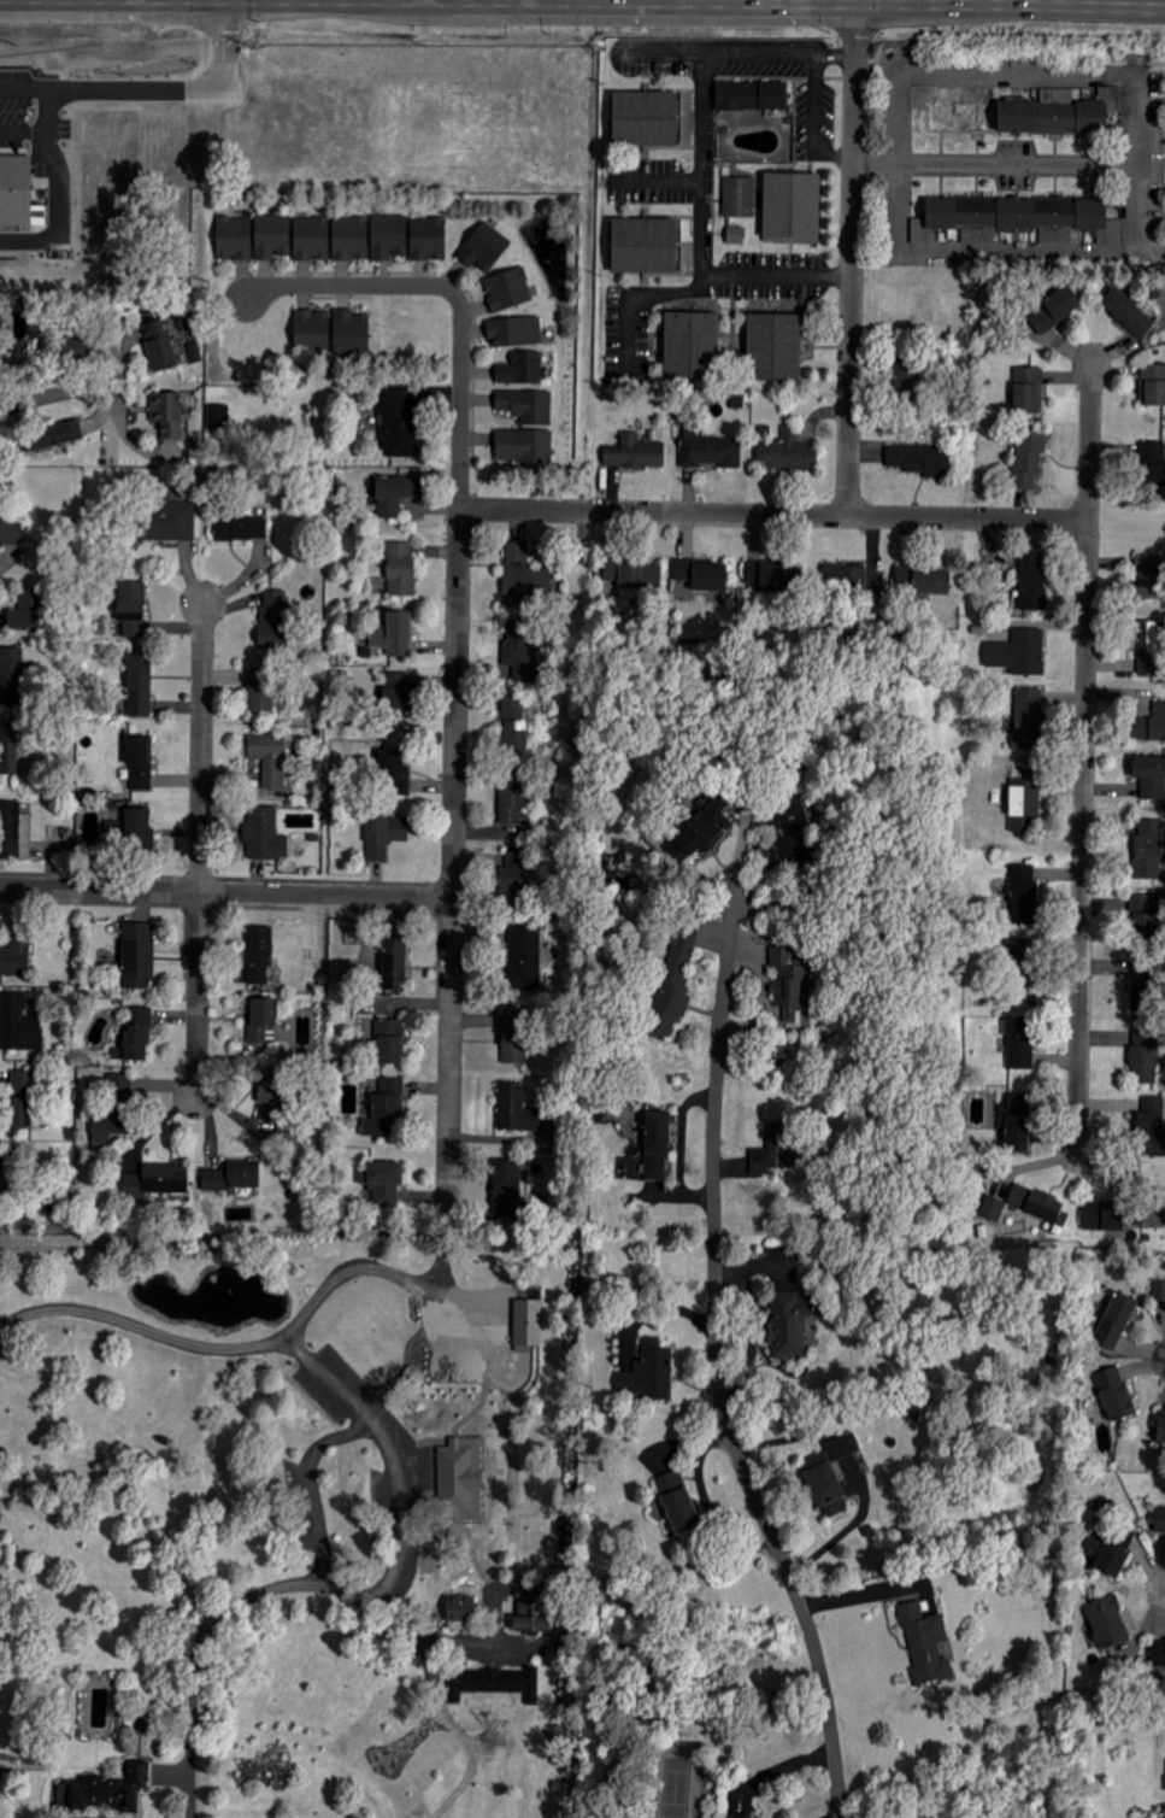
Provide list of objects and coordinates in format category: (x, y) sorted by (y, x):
road: (805, 1)
road: (695, 2)
road: (1064, 71)
road: (78, 88)
building: (752, 95)
building: (1059, 115)
building: (645, 118)
road: (898, 118)
building: (16, 137)
road: (704, 165)
road: (985, 165)
road: (659, 178)
building: (18, 194)
building: (740, 197)
building: (792, 206)
road: (895, 207)
building: (1016, 217)
building: (272, 236)
building: (389, 236)
building: (234, 239)
building: (312, 239)
building: (351, 239)
building: (429, 239)
building: (643, 246)
building: (486, 247)
road: (1057, 254)
road: (852, 260)
road: (352, 286)
building: (508, 289)
building: (1057, 309)
building: (1126, 311)
building: (312, 330)
building: (516, 332)
building: (352, 333)
building: (159, 345)
building: (690, 345)
building: (775, 347)
building: (522, 369)
building: (907, 371)
building: (1153, 385)
building: (1029, 389)
road: (58, 393)
road: (459, 401)
building: (526, 405)
building: (166, 416)
building: (222, 417)
building: (399, 424)
building: (51, 435)
building: (524, 446)
building: (711, 450)
building: (637, 453)
building: (788, 453)
building: (1029, 456)
building: (919, 461)
building: (1153, 464)
building: (396, 494)
road: (775, 516)
building: (167, 520)
building: (241, 528)
building: (401, 569)
building: (522, 571)
building: (702, 575)
building: (634, 576)
building: (1151, 577)
building: (760, 580)
building: (859, 580)
building: (1032, 581)
building: (931, 583)
building: (131, 602)
building: (27, 611)
building: (277, 618)
building: (396, 634)
building: (1148, 649)
building: (1019, 652)
building: (522, 653)
building: (13, 676)
building: (140, 686)
building: (261, 693)
building: (395, 704)
building: (1030, 720)
building: (516, 722)
building: (1151, 726)
building: (8, 751)
building: (270, 758)
road: (1084, 760)
building: (140, 762)
building: (394, 774)
building: (1151, 776)
building: (512, 793)
building: (1025, 800)
building: (794, 827)
building: (139, 828)
building: (704, 828)
building: (10, 831)
building: (265, 835)
building: (384, 837)
building: (1149, 849)
road: (200, 851)
road: (452, 867)
building: (514, 876)
road: (224, 892)
building: (1025, 896)
building: (1143, 917)
building: (1023, 940)
building: (16, 955)
building: (139, 956)
building: (259, 956)
building: (525, 958)
building: (394, 960)
building: (675, 983)
building: (793, 987)
building: (1146, 992)
building: (263, 1021)
building: (18, 1025)
building: (136, 1037)
building: (514, 1040)
building: (390, 1042)
building: (1020, 1043)
building: (1145, 1057)
building: (23, 1095)
building: (272, 1097)
building: (384, 1109)
building: (519, 1112)
building: (114, 1113)
building: (1016, 1122)
building: (1151, 1126)
building: (653, 1144)
building: (773, 1154)
building: (1, 1163)
building: (233, 1178)
building: (157, 1183)
building: (384, 1183)
building: (506, 1189)
building: (1036, 1203)
building: (992, 1210)
building: (1104, 1216)
road: (365, 1265)
building: (1159, 1290)
building: (1116, 1323)
building: (529, 1325)
building: (789, 1325)
road: (304, 1350)
road: (717, 1368)
building: (651, 1374)
building: (1116, 1395)
building: (1161, 1431)
building: (843, 1447)
building: (461, 1479)
road: (310, 1484)
building: (824, 1486)
building: (677, 1502)
building: (1160, 1521)
building: (1108, 1555)
road: (243, 1599)
building: (460, 1612)
building: (530, 1619)
building: (1108, 1623)
building: (926, 1643)
building: (1158, 1661)
building: (502, 1682)
building: (107, 1789)
building: (743, 1816)

